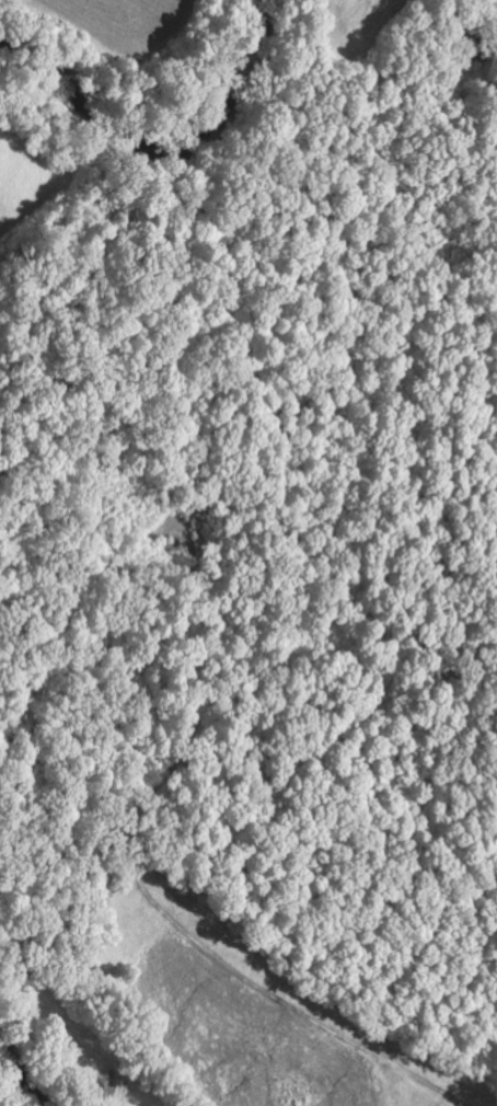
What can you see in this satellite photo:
river: (169, 143)
river: (22, 1081)

